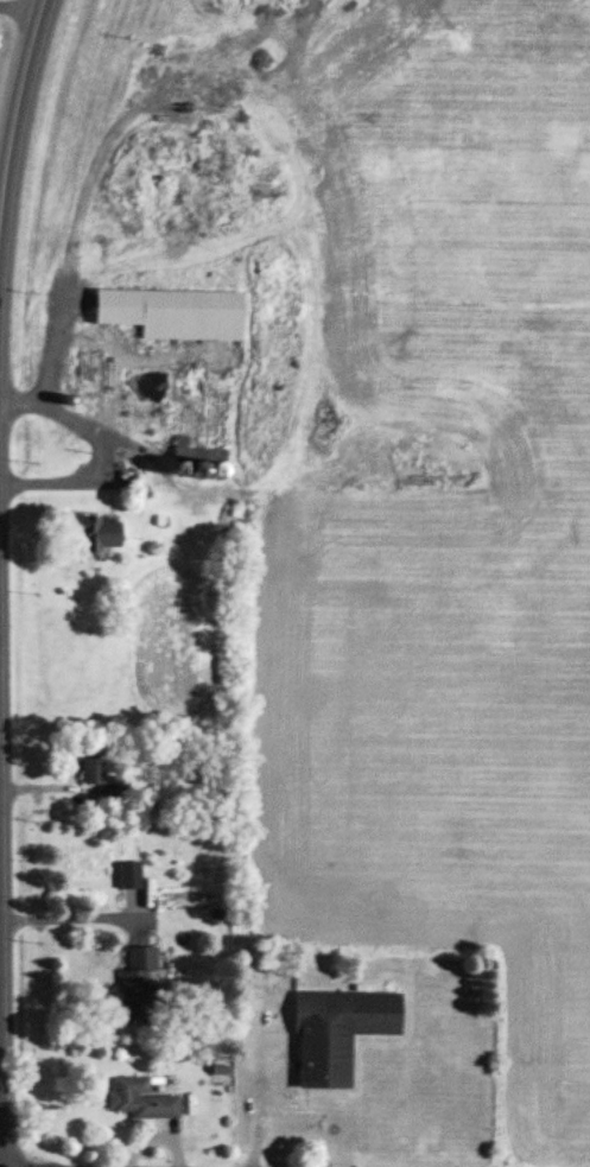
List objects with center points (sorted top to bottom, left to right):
road: (21, 11)
road: (14, 134)
building: (179, 316)
building: (94, 386)
building: (179, 445)
road: (101, 450)
building: (91, 534)
building: (93, 769)
road: (71, 912)
building: (139, 985)
building: (338, 1033)
building: (141, 1101)
road: (294, 1160)
road: (231, 1163)

